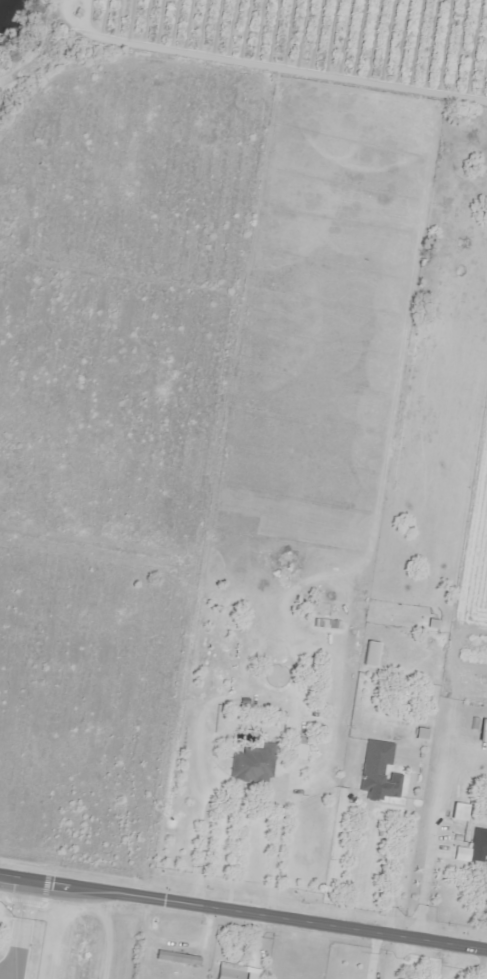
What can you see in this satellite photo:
building: (252, 765)
building: (378, 772)
building: (478, 844)
road: (243, 914)
building: (176, 957)
building: (227, 971)

